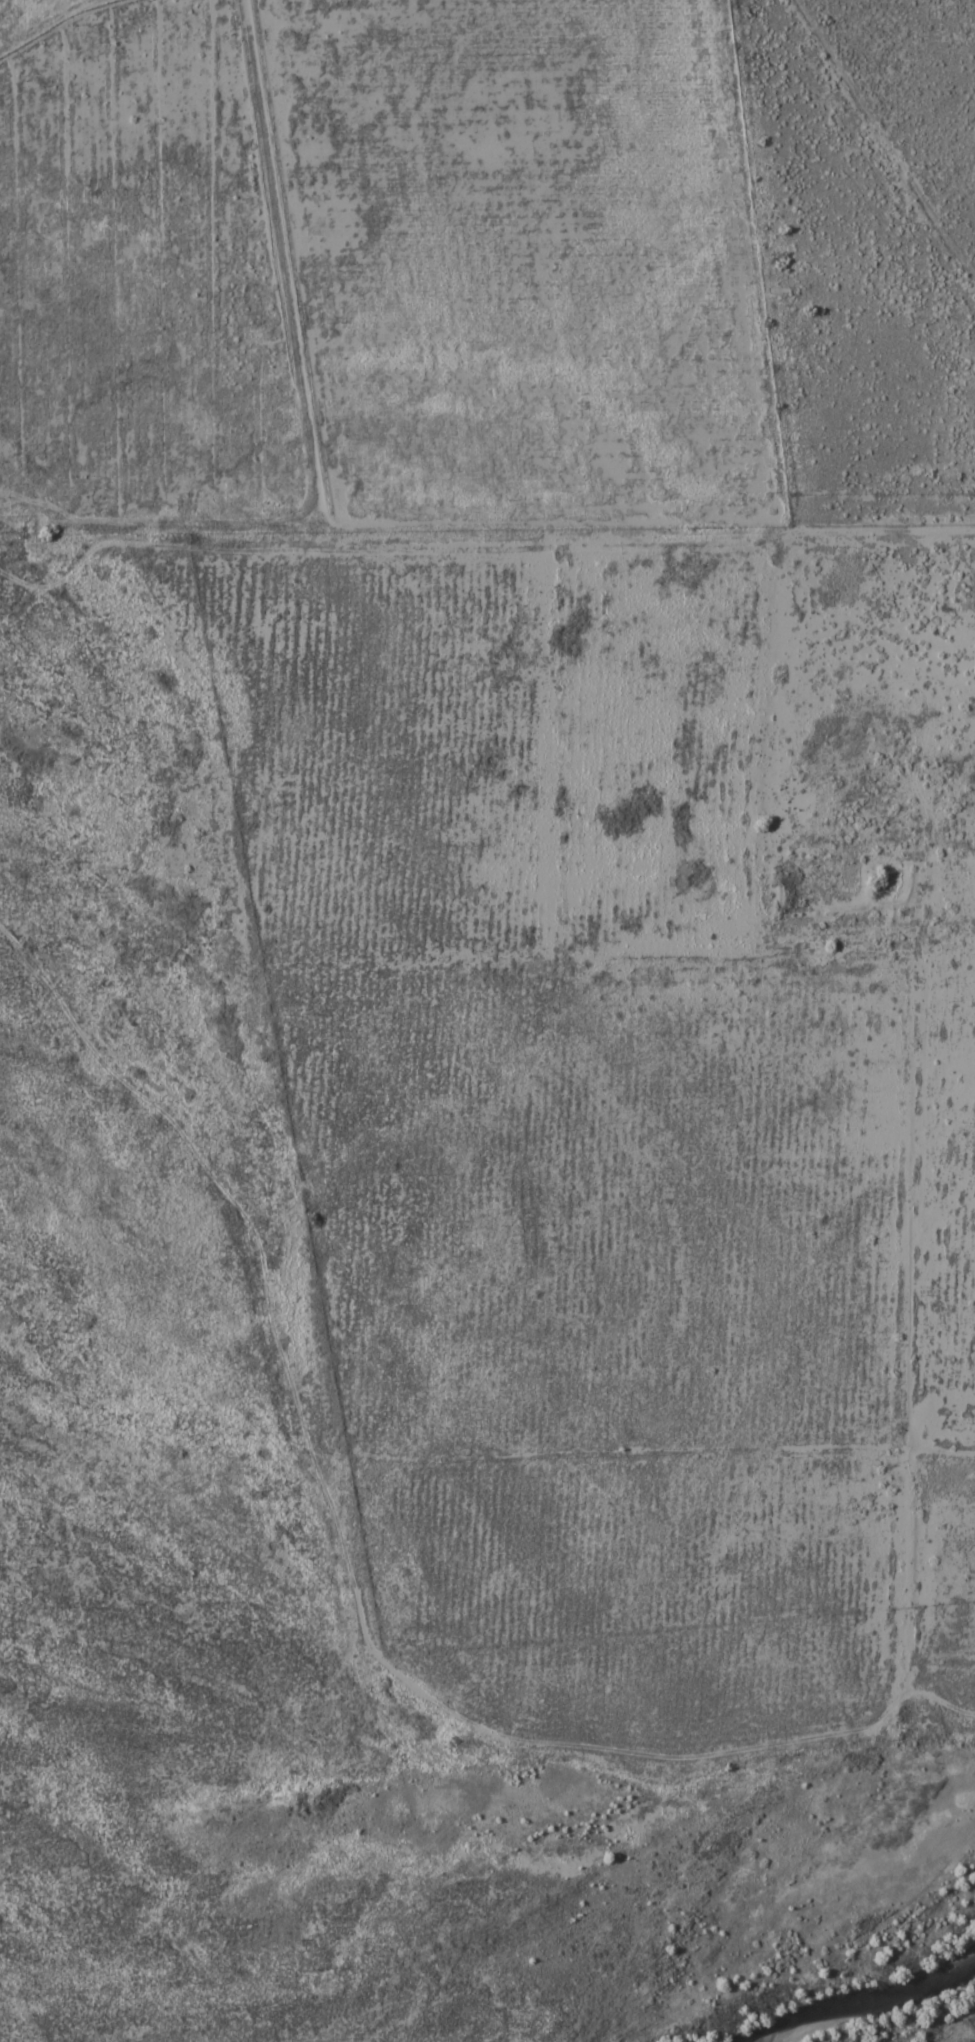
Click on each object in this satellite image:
river: (858, 1996)

